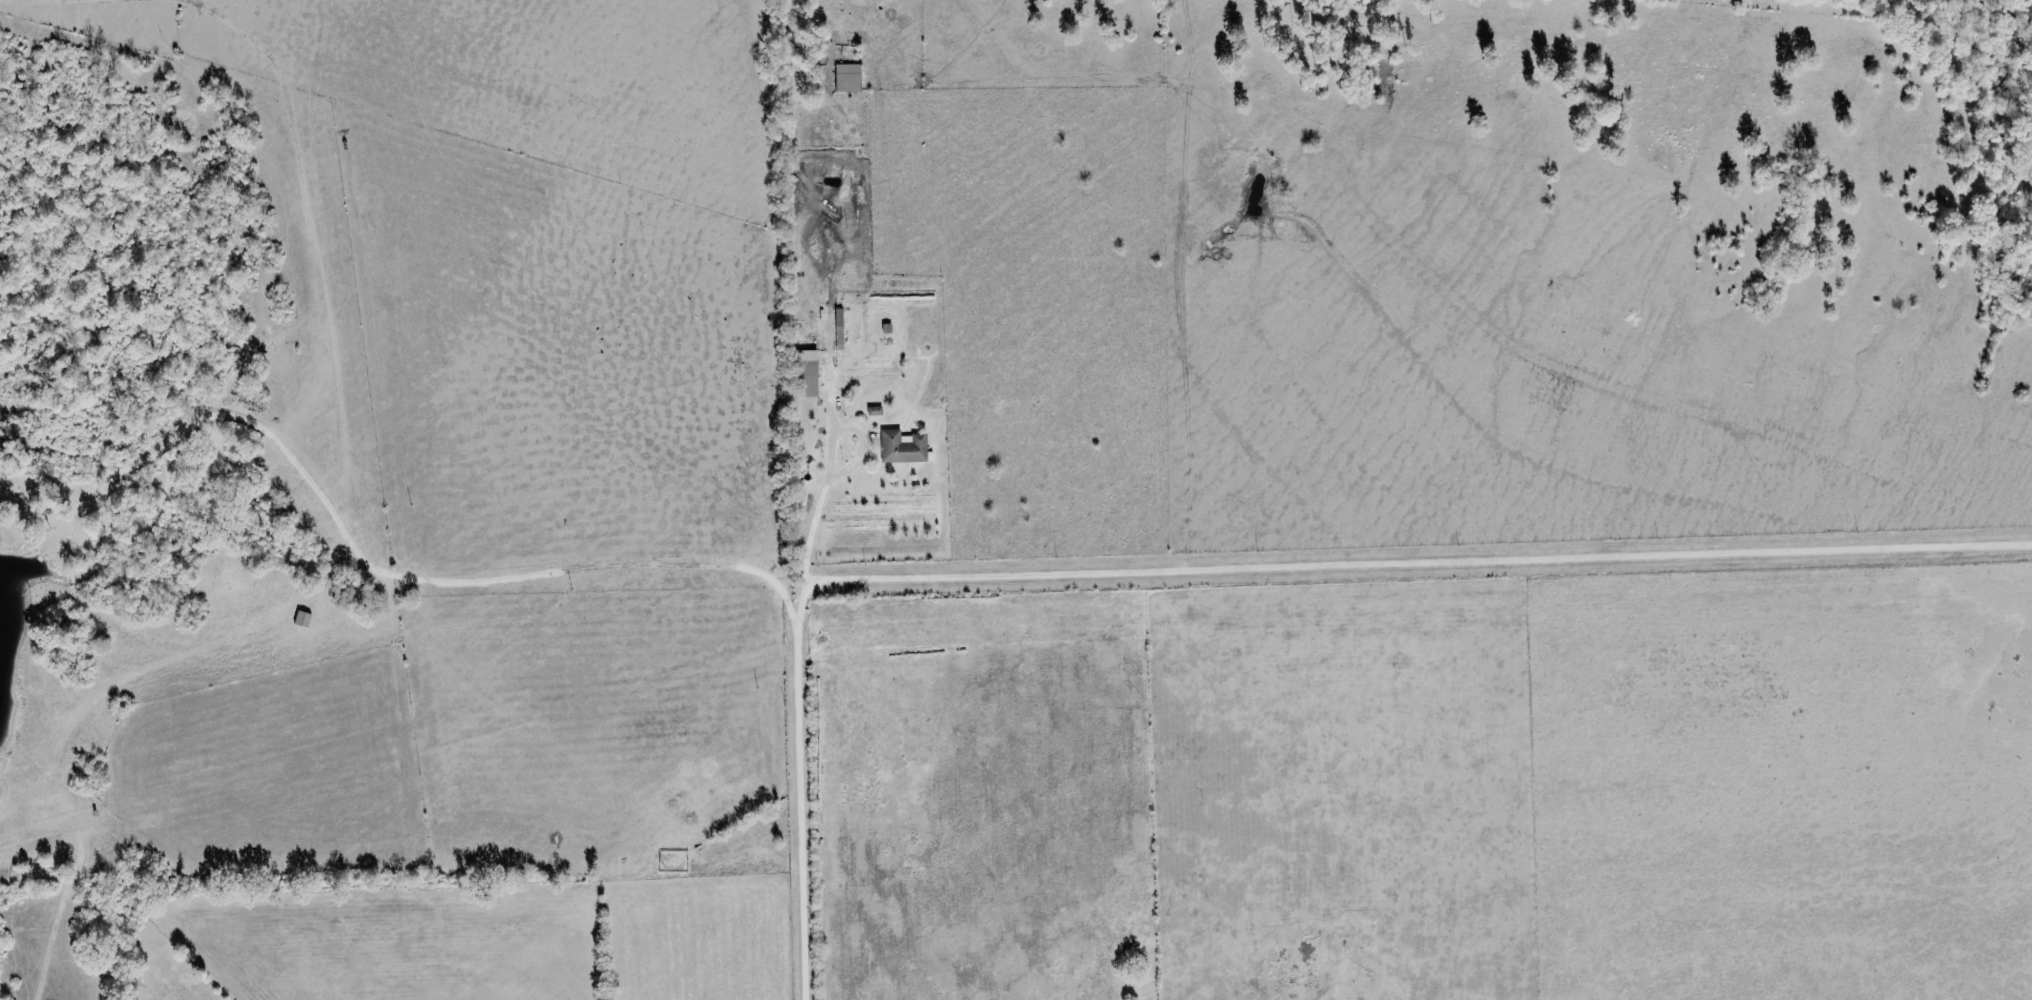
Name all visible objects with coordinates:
building: (846, 77)
building: (805, 372)
building: (873, 410)
building: (901, 446)

